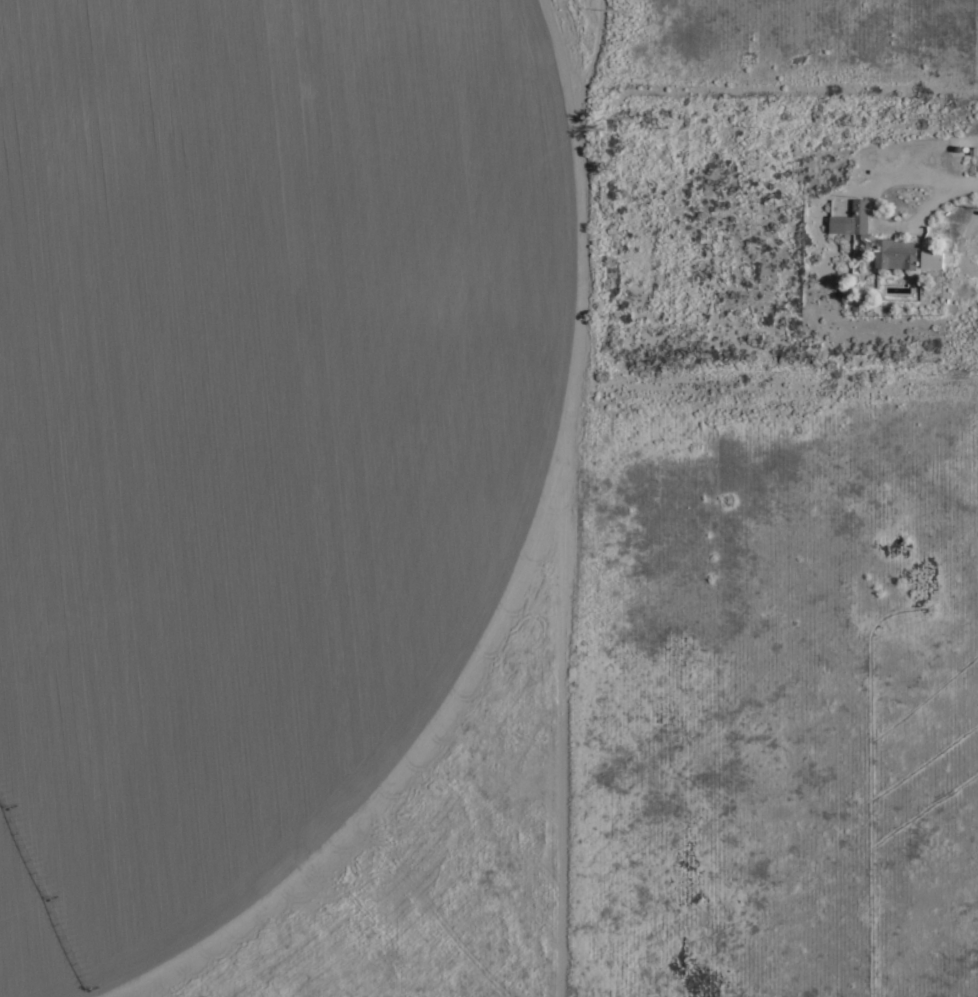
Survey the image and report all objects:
road: (958, 181)
building: (876, 239)
building: (932, 258)
crop: (492, 465)

